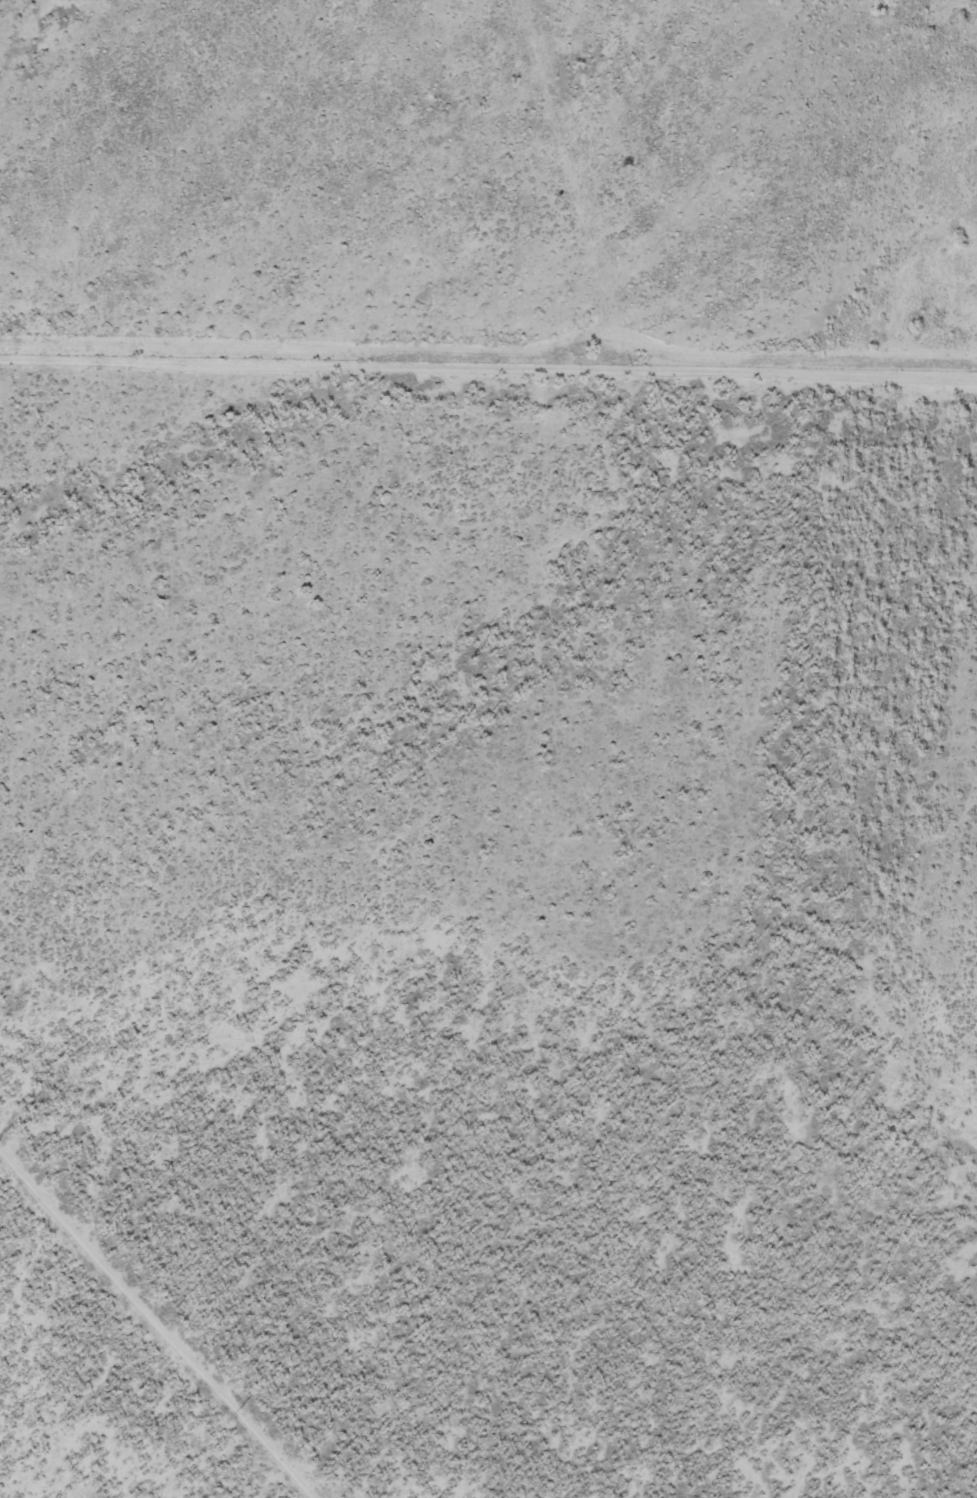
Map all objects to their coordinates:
road: (571, 185)
road: (488, 368)
road: (160, 1321)
power tower: (234, 1411)

